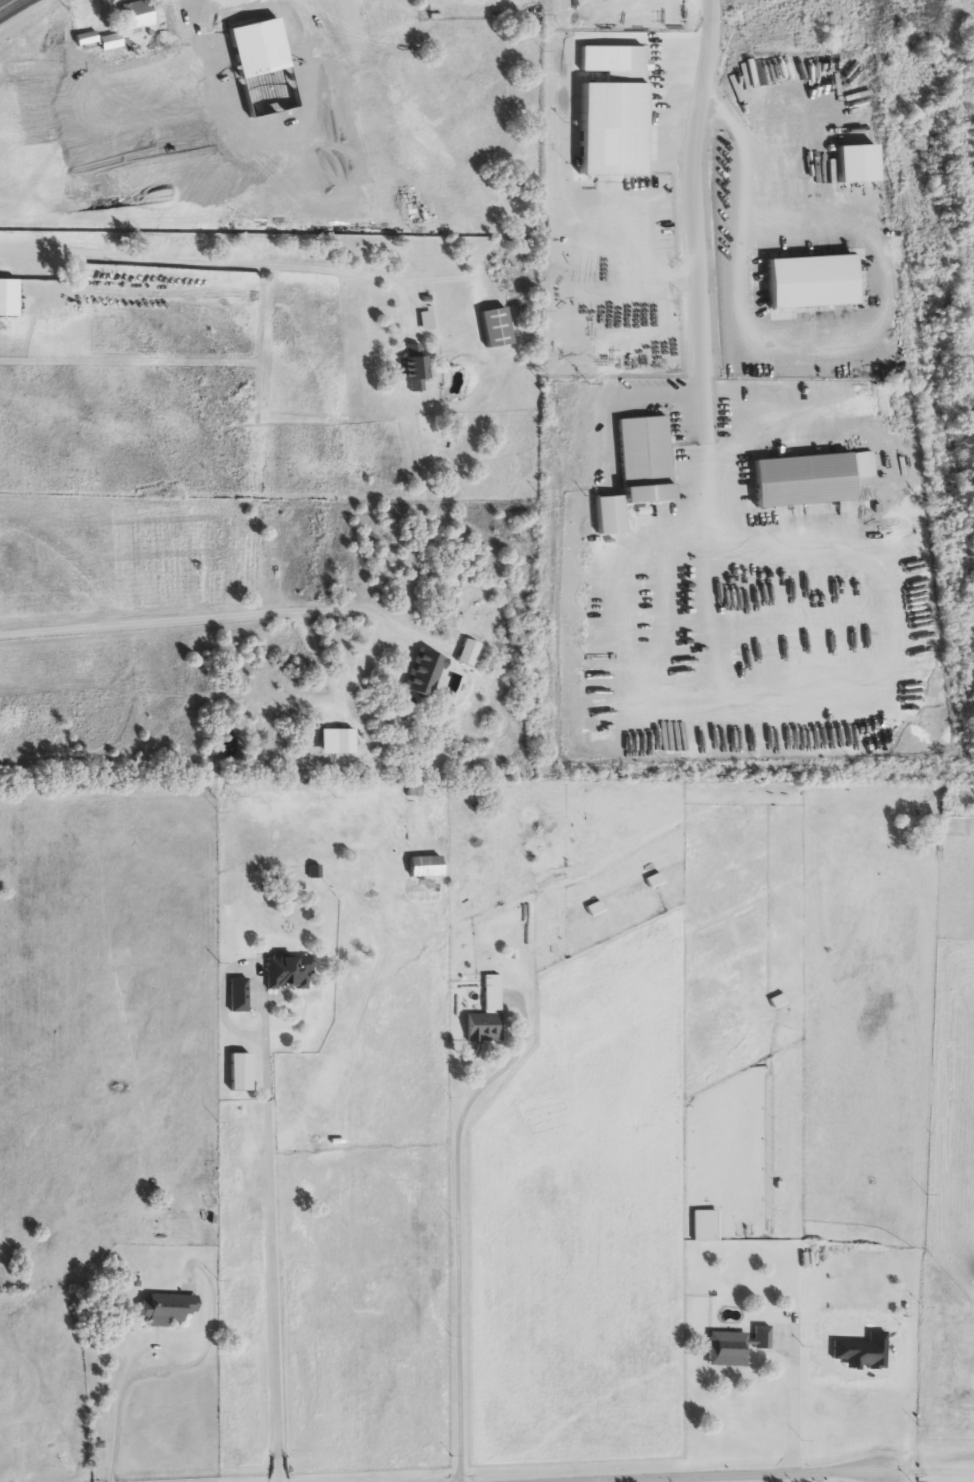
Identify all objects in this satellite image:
road: (14, 8)
road: (179, 9)
building: (137, 15)
building: (205, 18)
building: (86, 40)
building: (110, 42)
building: (263, 68)
road: (211, 266)
road: (695, 278)
building: (426, 321)
road: (799, 345)
building: (415, 370)
building: (784, 499)
building: (835, 508)
road: (613, 613)
road: (202, 621)
building: (424, 674)
road: (886, 684)
building: (414, 791)
building: (410, 812)
building: (425, 866)
building: (653, 881)
building: (288, 972)
building: (238, 996)
building: (777, 1002)
building: (486, 1014)
road: (925, 1069)
building: (240, 1072)
building: (703, 1226)
road: (456, 1232)
road: (274, 1243)
building: (167, 1309)
building: (735, 1347)
road: (798, 1402)
road: (115, 1414)
road: (927, 1472)
road: (757, 1475)
road: (821, 1477)
road: (769, 1478)

